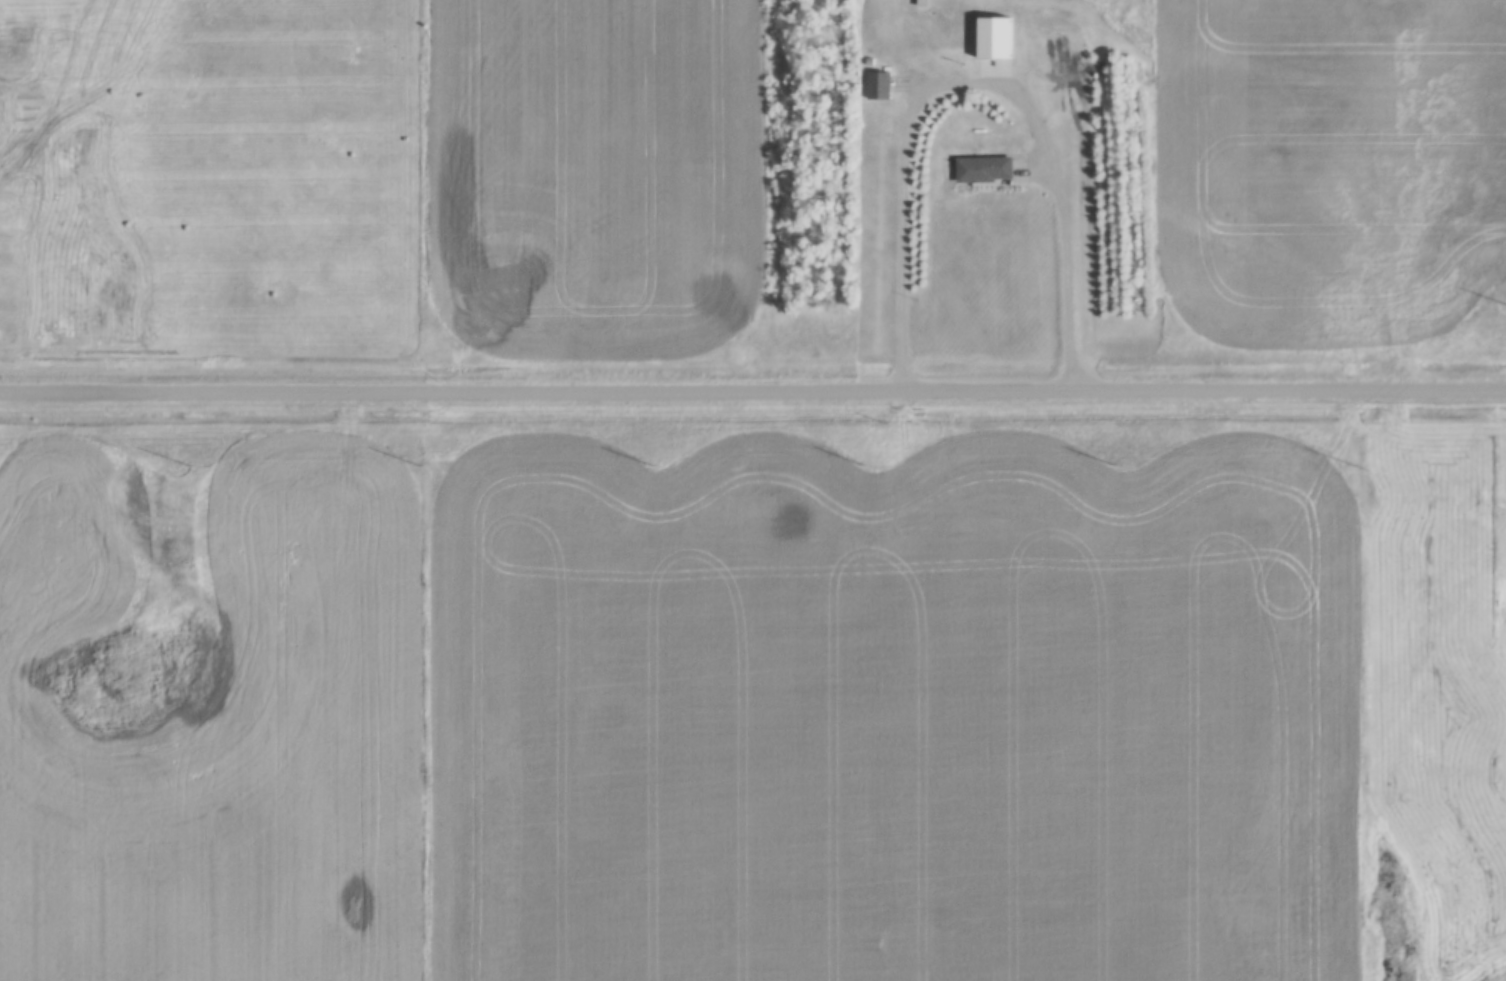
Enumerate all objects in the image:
building: (996, 47)
road: (977, 81)
building: (880, 87)
building: (985, 171)
road: (753, 389)

